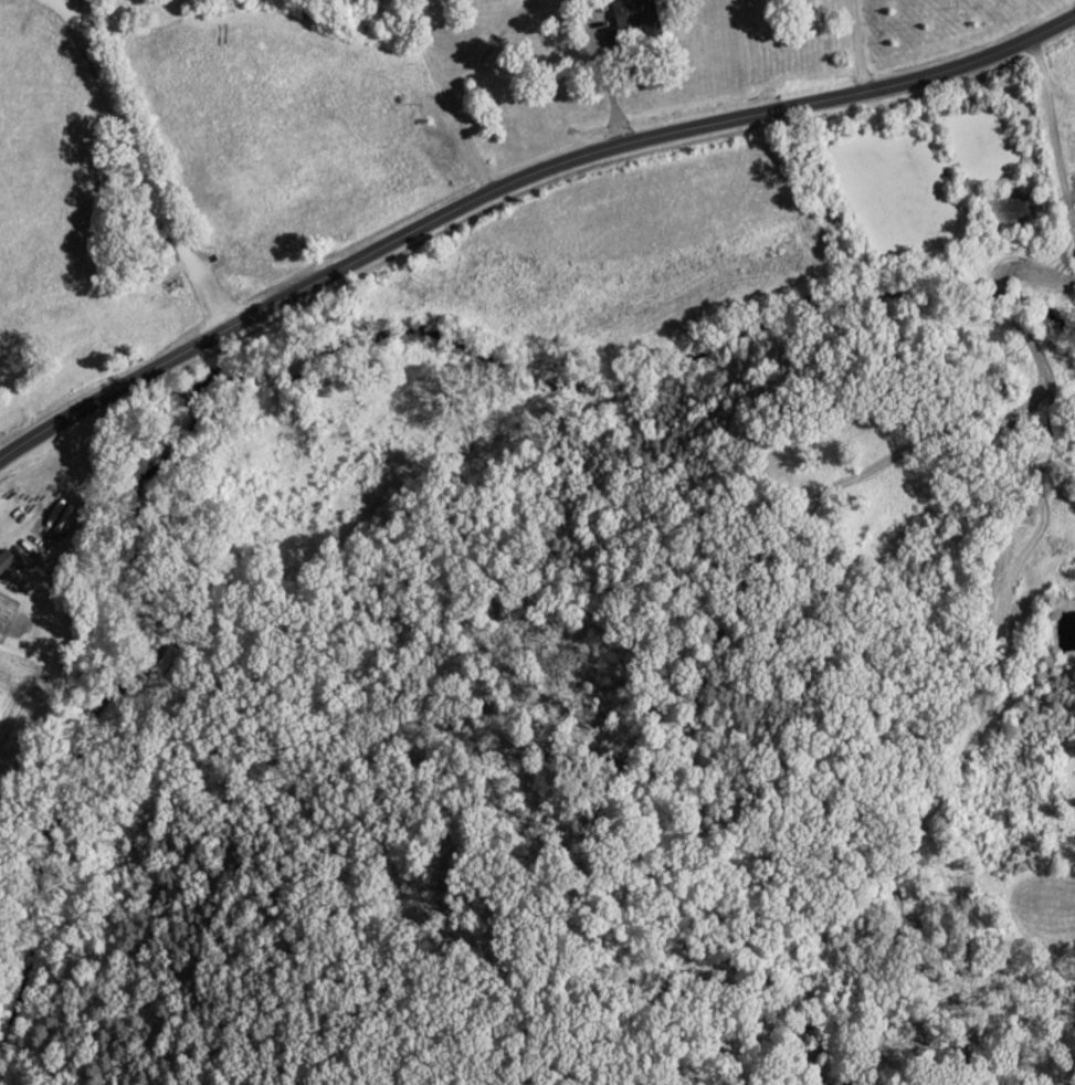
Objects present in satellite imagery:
road: (87, 14)
building: (631, 22)
road: (862, 48)
road: (1048, 81)
road: (611, 83)
road: (447, 94)
road: (140, 165)
road: (514, 183)
building: (1033, 284)
building: (7, 566)

